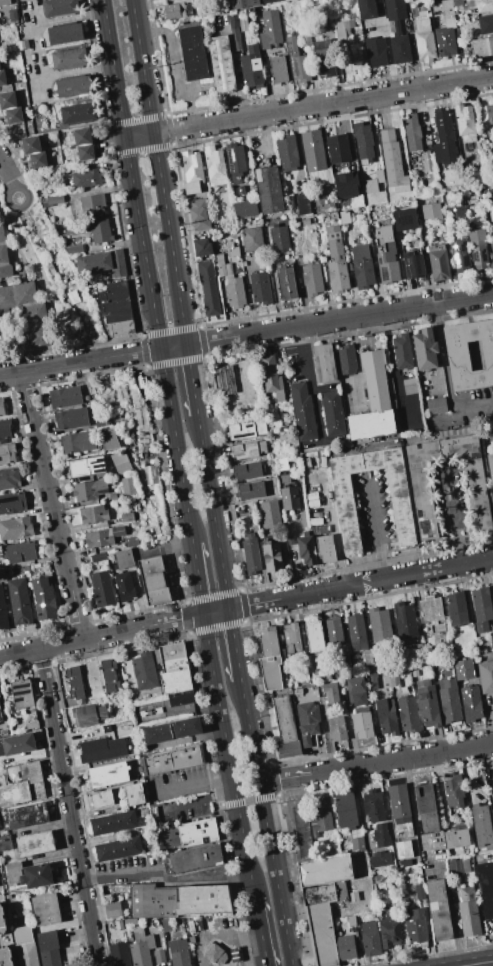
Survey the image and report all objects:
building: (442, 0)
building: (268, 1)
building: (456, 1)
building: (5, 2)
building: (244, 3)
building: (225, 5)
building: (479, 5)
building: (59, 8)
building: (367, 9)
building: (177, 11)
building: (13, 15)
road: (68, 19)
building: (485, 24)
parking lot: (29, 26)
building: (269, 29)
building: (342, 29)
building: (397, 30)
building: (234, 32)
building: (446, 32)
building: (64, 34)
building: (424, 37)
building: (305, 40)
building: (482, 47)
building: (321, 48)
building: (375, 51)
building: (192, 53)
building: (69, 59)
building: (298, 62)
building: (221, 64)
building: (251, 68)
building: (324, 68)
building: (0, 69)
building: (278, 69)
road: (174, 70)
road: (76, 72)
building: (2, 78)
parking lot: (37, 79)
building: (73, 86)
building: (8, 101)
road: (309, 108)
building: (77, 113)
building: (489, 113)
building: (14, 116)
building: (465, 124)
building: (412, 133)
building: (82, 136)
building: (443, 138)
building: (363, 141)
building: (30, 145)
building: (339, 145)
building: (287, 151)
building: (313, 151)
building: (85, 152)
building: (392, 159)
building: (38, 160)
building: (235, 161)
building: (427, 162)
building: (215, 166)
road: (159, 172)
building: (192, 173)
building: (353, 174)
road: (6, 176)
building: (379, 176)
building: (86, 179)
building: (345, 184)
building: (371, 187)
building: (269, 190)
road: (8, 192)
building: (492, 193)
building: (54, 200)
building: (94, 204)
building: (303, 204)
building: (246, 208)
building: (456, 211)
building: (431, 212)
building: (199, 214)
building: (490, 215)
building: (332, 216)
building: (344, 217)
building: (403, 219)
building: (305, 222)
building: (99, 231)
building: (410, 236)
building: (252, 239)
building: (279, 239)
building: (491, 246)
building: (202, 247)
building: (478, 247)
building: (74, 249)
building: (234, 251)
building: (460, 254)
building: (4, 257)
building: (387, 260)
building: (336, 261)
building: (438, 262)
building: (93, 263)
building: (117, 263)
building: (362, 265)
building: (412, 265)
building: (492, 266)
building: (223, 267)
road: (147, 271)
building: (312, 280)
building: (285, 283)
road: (39, 288)
building: (208, 288)
building: (260, 288)
building: (111, 292)
building: (234, 292)
building: (26, 311)
building: (115, 311)
building: (119, 328)
road: (246, 335)
building: (424, 349)
building: (402, 351)
building: (457, 356)
building: (346, 359)
building: (324, 363)
building: (271, 377)
road: (445, 378)
road: (191, 380)
building: (225, 381)
road: (312, 385)
building: (409, 387)
building: (64, 397)
building: (373, 401)
building: (436, 406)
building: (1, 407)
building: (302, 412)
building: (333, 414)
building: (71, 418)
building: (5, 429)
building: (246, 430)
building: (109, 439)
building: (77, 442)
building: (247, 450)
building: (7, 454)
building: (119, 462)
building: (281, 463)
building: (86, 467)
building: (490, 467)
building: (247, 471)
building: (149, 474)
building: (9, 478)
building: (283, 478)
building: (128, 485)
building: (89, 490)
building: (250, 491)
building: (421, 495)
building: (113, 497)
road: (450, 498)
building: (289, 499)
building: (12, 503)
road: (51, 505)
building: (346, 509)
building: (240, 510)
road: (212, 512)
road: (375, 513)
building: (92, 514)
building: (270, 515)
building: (127, 517)
building: (15, 528)
building: (103, 537)
building: (132, 541)
road: (458, 547)
building: (325, 548)
building: (306, 550)
building: (20, 552)
building: (251, 554)
building: (98, 557)
building: (271, 557)
building: (124, 558)
road: (383, 562)
road: (197, 578)
building: (154, 580)
building: (124, 586)
building: (102, 589)
building: (43, 599)
building: (19, 601)
road: (245, 605)
building: (456, 608)
building: (430, 609)
building: (482, 609)
building: (3, 612)
building: (404, 620)
building: (379, 625)
building: (333, 631)
building: (356, 632)
building: (314, 636)
building: (291, 638)
building: (491, 642)
road: (234, 644)
building: (345, 649)
building: (428, 650)
building: (420, 654)
building: (368, 659)
building: (269, 660)
building: (173, 667)
building: (464, 669)
building: (144, 670)
building: (109, 675)
building: (485, 676)
building: (393, 678)
building: (372, 681)
building: (74, 683)
building: (0, 689)
building: (314, 690)
building: (356, 691)
building: (329, 692)
building: (21, 694)
building: (178, 699)
building: (449, 700)
building: (471, 703)
building: (427, 704)
building: (408, 714)
building: (87, 715)
building: (1, 716)
building: (386, 716)
building: (284, 719)
building: (307, 721)
building: (362, 724)
building: (32, 725)
building: (337, 729)
building: (172, 730)
building: (17, 745)
building: (104, 749)
building: (288, 749)
road: (227, 755)
building: (173, 759)
road: (375, 763)
building: (108, 774)
building: (492, 778)
road: (193, 782)
building: (24, 786)
building: (454, 792)
building: (134, 794)
building: (102, 798)
road: (199, 800)
road: (248, 801)
building: (398, 801)
building: (373, 806)
road: (68, 807)
building: (426, 808)
building: (140, 810)
building: (345, 810)
building: (25, 815)
building: (320, 816)
building: (112, 823)
road: (265, 823)
building: (482, 827)
building: (404, 829)
building: (302, 832)
building: (189, 833)
building: (380, 835)
building: (455, 838)
building: (5, 843)
building: (35, 843)
building: (356, 843)
building: (148, 847)
building: (118, 849)
building: (403, 849)
building: (194, 857)
building: (380, 859)
building: (455, 866)
building: (323, 869)
building: (31, 874)
road: (165, 880)
building: (486, 887)
building: (419, 892)
building: (323, 893)
building: (352, 896)
building: (176, 900)
building: (112, 909)
building: (45, 910)
building: (439, 910)
building: (469, 912)
building: (2, 921)
building: (118, 924)
building: (166, 924)
building: (415, 926)
road: (260, 931)
building: (389, 933)
building: (320, 934)
road: (226, 936)
building: (370, 939)
building: (141, 947)
building: (345, 947)
building: (49, 948)
building: (26, 952)
building: (178, 952)
building: (214, 953)
building: (119, 954)
building: (159, 956)
building: (6, 957)
road: (480, 963)

